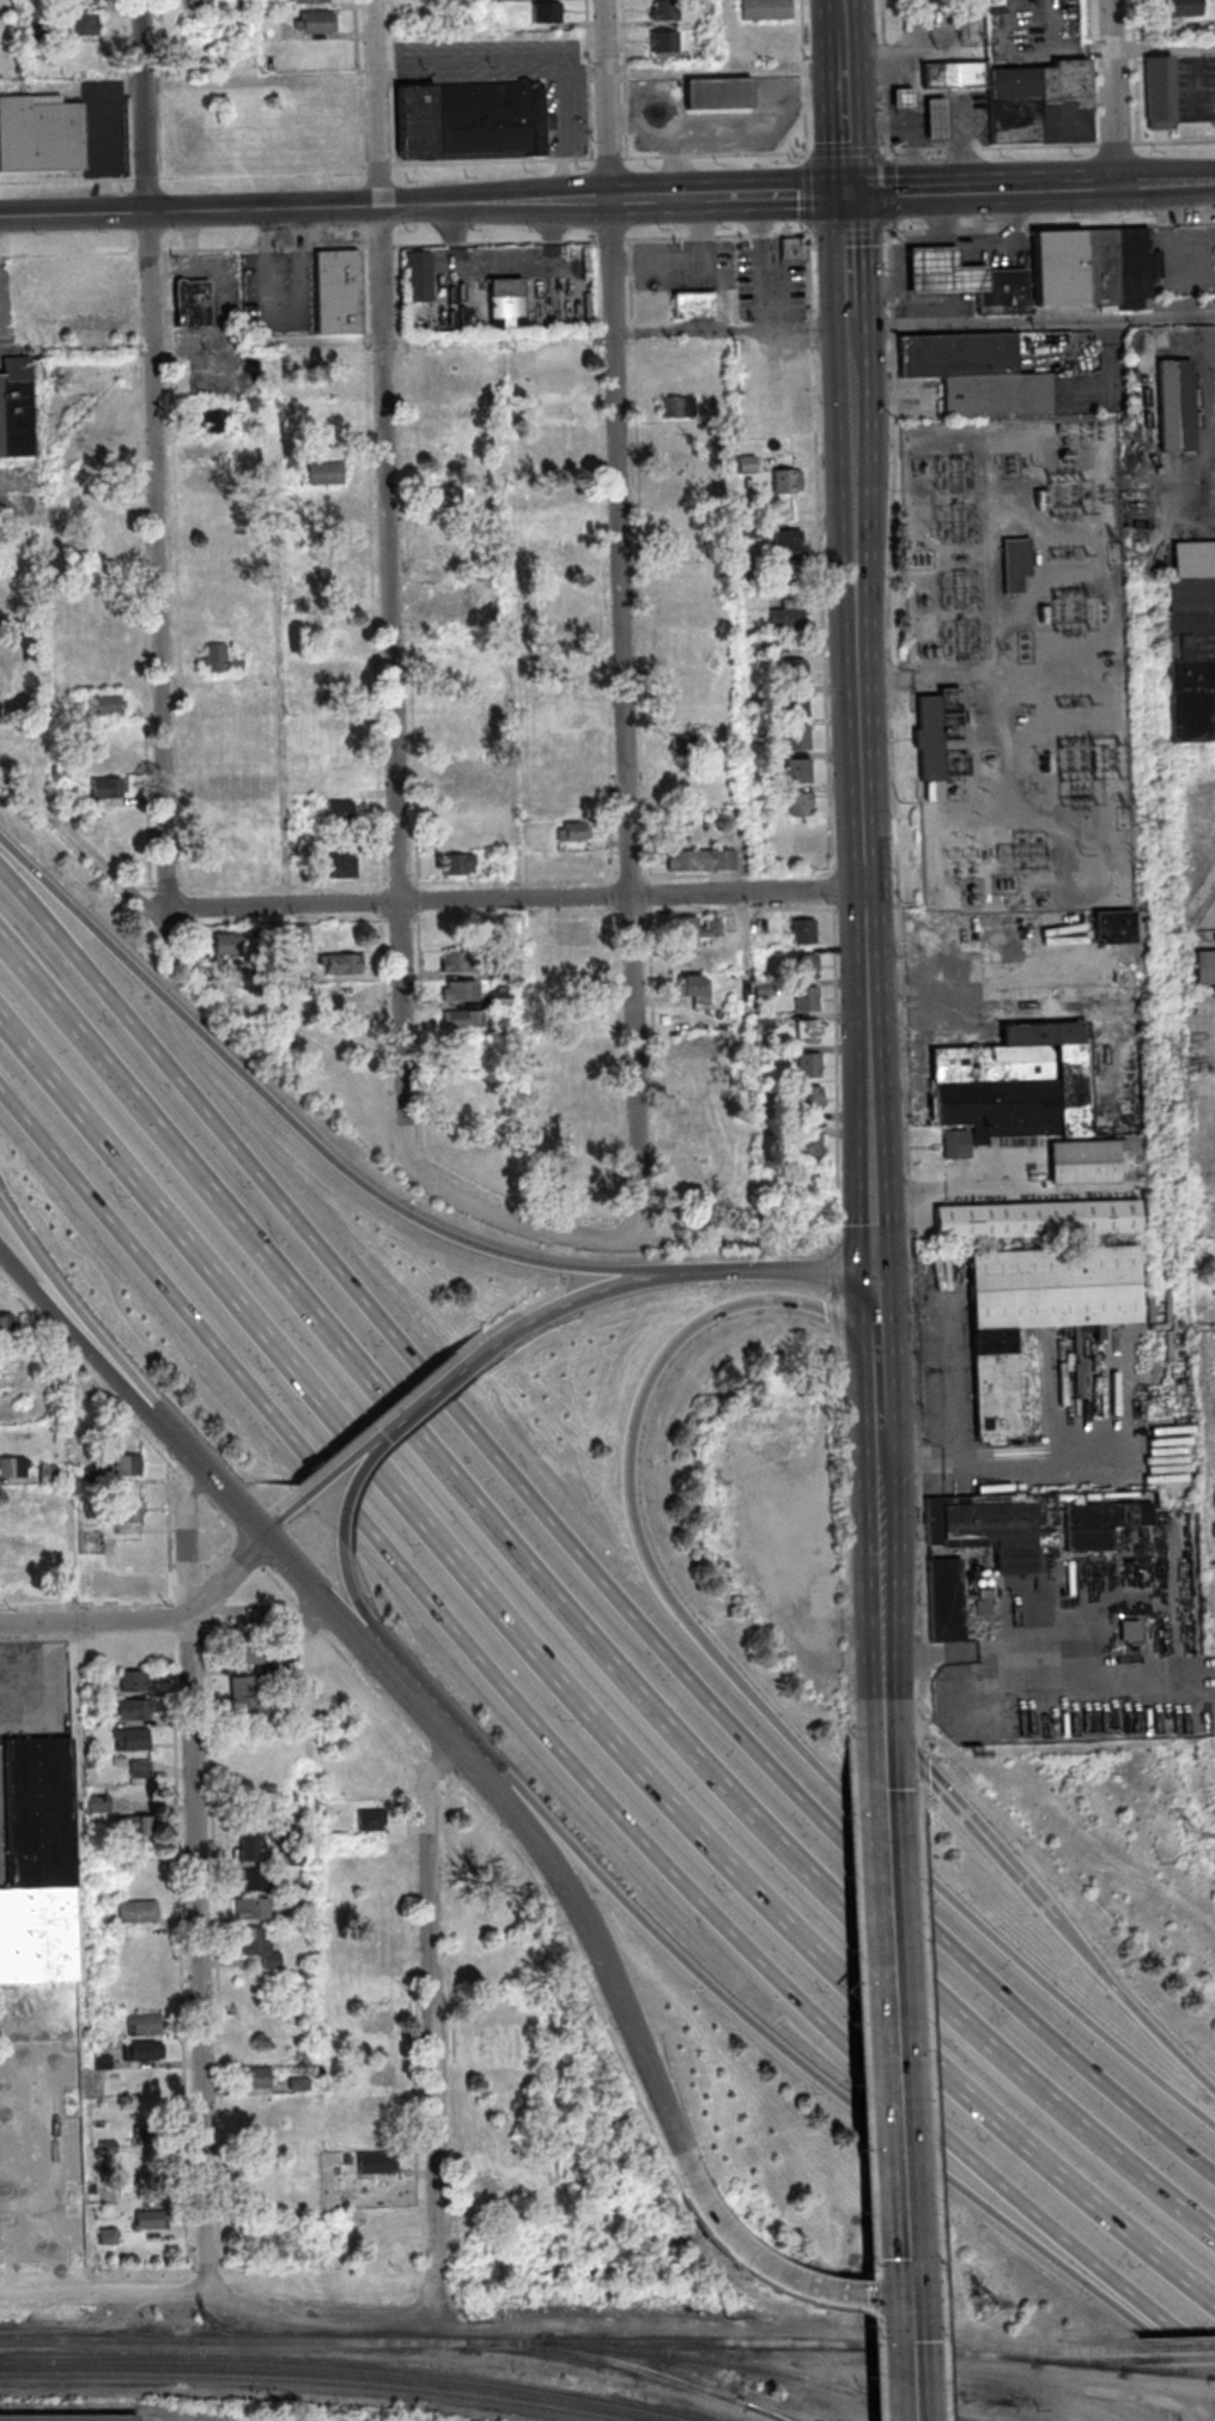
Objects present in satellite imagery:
building: (469, 0)
building: (508, 0)
building: (199, 1)
building: (311, 1)
building: (84, 2)
building: (272, 2)
building: (242, 4)
building: (1180, 7)
building: (667, 10)
building: (766, 10)
building: (547, 12)
building: (317, 23)
building: (85, 25)
building: (273, 30)
road: (719, 34)
park: (13, 41)
building: (666, 42)
road: (1161, 47)
road: (1056, 50)
road: (911, 56)
road: (610, 71)
road: (1135, 72)
road: (1091, 73)
building: (956, 74)
road: (625, 79)
road: (804, 80)
road: (886, 81)
road: (188, 83)
building: (1014, 83)
road: (359, 86)
road: (128, 89)
road: (164, 89)
parking lot: (1193, 90)
road: (915, 91)
road: (1111, 92)
building: (1160, 93)
building: (718, 95)
road: (845, 97)
building: (903, 98)
building: (1065, 102)
building: (936, 119)
building: (472, 122)
road: (937, 125)
road: (918, 126)
road: (909, 128)
road: (736, 129)
parking lot: (706, 133)
building: (41, 134)
road: (560, 135)
traffic signals: (848, 142)
road: (1172, 142)
road: (1116, 145)
road: (990, 147)
road: (962, 150)
road: (846, 152)
road: (718, 156)
road: (610, 159)
road: (494, 162)
road: (678, 164)
road: (378, 169)
road: (263, 176)
road: (808, 177)
road: (889, 177)
road: (147, 178)
road: (67, 181)
road: (1165, 183)
road: (1087, 186)
road: (1026, 188)
road: (919, 190)
traffic signals: (898, 192)
road: (778, 195)
traffic signals: (801, 195)
road: (682, 198)
road: (634, 199)
road: (305, 207)
road: (607, 238)
traffic signals: (851, 244)
building: (794, 249)
road: (766, 261)
road: (692, 263)
building: (1094, 267)
building: (943, 272)
building: (418, 277)
building: (77, 284)
road: (851, 287)
building: (336, 290)
building: (1002, 292)
building: (192, 303)
building: (508, 303)
building: (695, 305)
parking lot: (4, 310)
road: (1033, 322)
road: (502, 334)
building: (956, 356)
building: (997, 395)
building: (1175, 405)
building: (16, 408)
building: (553, 408)
building: (679, 408)
building: (328, 414)
building: (214, 420)
road: (944, 431)
road: (879, 433)
building: (214, 441)
road: (1015, 442)
road: (154, 454)
building: (748, 465)
building: (326, 474)
building: (786, 481)
road: (19, 487)
parking lot: (22, 492)
building: (446, 497)
building: (558, 522)
building: (752, 532)
building: (788, 540)
power tower: (1116, 551)
building: (1017, 563)
building: (791, 574)
building: (1192, 591)
building: (5, 593)
road: (624, 620)
building: (788, 620)
building: (335, 642)
building: (776, 645)
road: (394, 648)
building: (1191, 649)
building: (294, 653)
building: (219, 661)
power substation: (1016, 662)
building: (452, 667)
building: (795, 673)
road: (1012, 678)
road: (887, 681)
building: (1192, 700)
building: (103, 705)
building: (796, 705)
building: (567, 718)
road: (995, 727)
building: (323, 729)
building: (797, 738)
building: (931, 738)
building: (684, 746)
building: (107, 759)
building: (798, 772)
building: (107, 789)
building: (757, 795)
building: (801, 805)
road: (946, 811)
building: (340, 812)
building: (223, 813)
power tower: (1125, 815)
road: (863, 825)
building: (575, 832)
road: (80, 851)
building: (701, 861)
building: (498, 863)
building: (458, 866)
building: (341, 868)
road: (515, 898)
building: (1114, 926)
building: (697, 929)
building: (573, 932)
building: (803, 933)
building: (232, 942)
building: (341, 963)
building: (460, 963)
building: (806, 967)
building: (502, 970)
building: (1205, 970)
building: (227, 972)
building: (764, 990)
building: (697, 991)
building: (345, 993)
building: (460, 993)
building: (502, 1000)
building: (807, 1000)
building: (577, 1012)
building: (462, 1020)
building: (765, 1025)
building: (808, 1033)
power tower: (1178, 1062)
building: (808, 1067)
building: (1047, 1070)
building: (809, 1100)
building: (691, 1120)
road: (309, 1131)
building: (955, 1148)
building: (806, 1149)
building: (1086, 1161)
building: (695, 1176)
building: (578, 1185)
road: (959, 1193)
building: (1038, 1221)
road: (583, 1237)
traffic signals: (875, 1268)
road: (661, 1276)
building: (1055, 1290)
road: (807, 1306)
road: (875, 1306)
road: (79, 1316)
building: (8, 1324)
road: (81, 1342)
building: (10, 1372)
road: (446, 1383)
building: (1004, 1385)
road: (877, 1403)
power tower: (1156, 1412)
building: (59, 1440)
road: (365, 1449)
building: (128, 1467)
road: (373, 1468)
building: (14, 1469)
road: (996, 1470)
building: (49, 1475)
building: (90, 1478)
road: (214, 1481)
building: (8, 1495)
building: (130, 1512)
road: (285, 1516)
building: (1100, 1525)
building: (985, 1528)
road: (186, 1542)
road: (575, 1545)
building: (17, 1553)
building: (86, 1574)
road: (230, 1577)
road: (348, 1577)
building: (122, 1584)
road: (880, 1592)
road: (321, 1596)
building: (944, 1600)
road: (576, 1612)
road: (96, 1619)
road: (263, 1622)
building: (1129, 1630)
road: (369, 1631)
building: (248, 1656)
road: (1047, 1662)
building: (266, 1671)
building: (134, 1683)
road: (571, 1683)
building: (243, 1688)
building: (135, 1711)
building: (248, 1715)
road: (437, 1718)
traffic signals: (882, 1722)
building: (133, 1740)
road: (882, 1743)
road: (563, 1752)
road: (809, 1755)
building: (141, 1771)
building: (101, 1804)
building: (330, 1815)
road: (971, 1818)
building: (372, 1821)
building: (139, 1826)
road: (530, 1827)
power tower: (1192, 1833)
building: (253, 1847)
building: (40, 1867)
building: (253, 1882)
building: (300, 1891)
building: (250, 1911)
building: (140, 1913)
building: (375, 1935)
building: (261, 1949)
road: (201, 1958)
building: (371, 1962)
building: (371, 1992)
road: (1134, 2000)
road: (621, 2010)
building: (260, 2019)
building: (376, 2020)
building: (28, 2021)
road: (430, 2021)
building: (71, 2026)
building: (145, 2027)
building: (144, 2053)
building: (486, 2053)
building: (103, 2063)
building: (379, 2071)
building: (257, 2079)
building: (300, 2086)
road: (845, 2089)
road: (895, 2093)
building: (372, 2105)
building: (150, 2147)
building: (492, 2159)
building: (376, 2165)
building: (491, 2189)
road: (718, 2220)
building: (153, 2222)
building: (109, 2239)
road: (842, 2290)
traffic signals: (903, 2294)
road: (218, 2301)
power tower: (983, 2301)
power tower: (728, 2318)
power tower: (470, 2322)
power tower: (209, 2325)
railway: (577, 2341)
railway: (1185, 2347)
railway: (992, 2355)
railway: (1192, 2358)
railway: (1101, 2360)
railway: (934, 2361)
railway: (745, 2364)
railway: (1079, 2364)
railway: (636, 2366)
railway: (1150, 2367)
railway: (1197, 2367)
railway: (344, 2368)
railway: (1155, 2370)
railway: (1202, 2374)
railway: (1211, 2376)
railway: (314, 2378)
railway: (1211, 2387)
railway: (767, 2410)
railway: (925, 2411)
building: (68, 2417)

